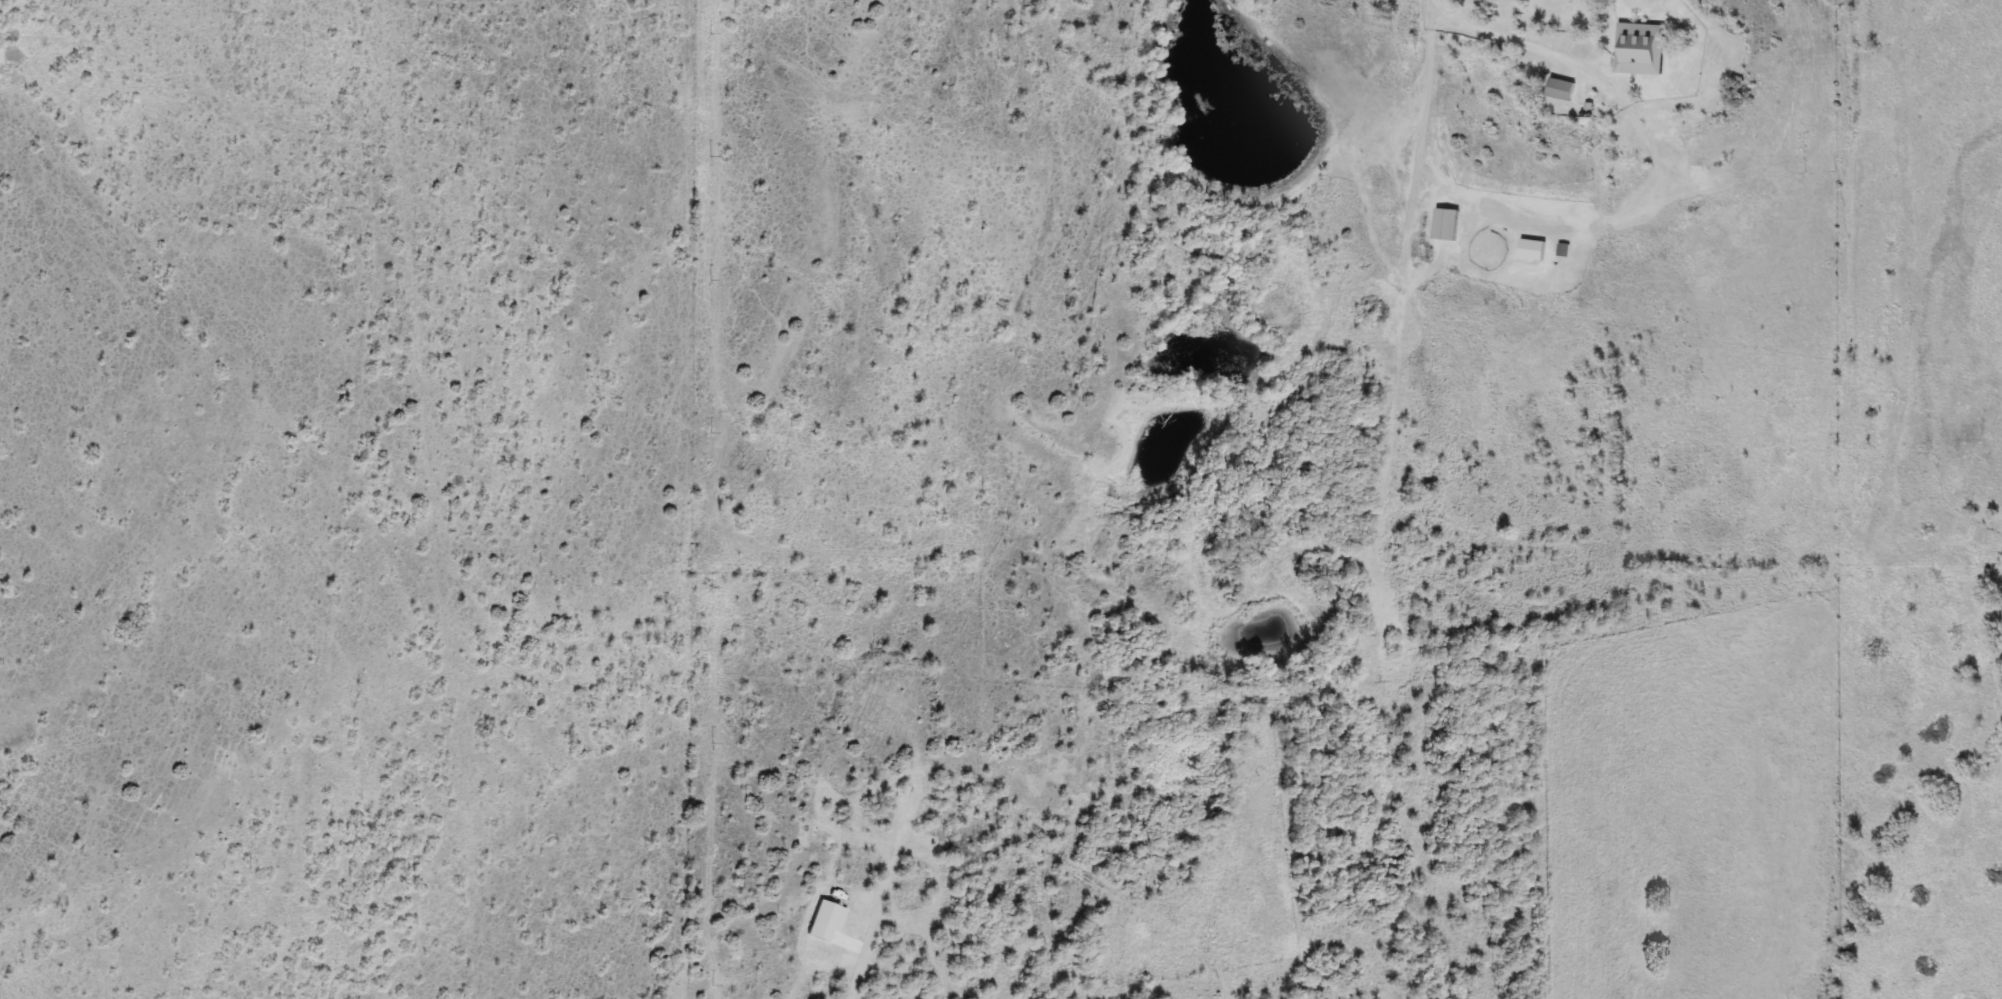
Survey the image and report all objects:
road: (1520, 44)
building: (1641, 49)
building: (1562, 89)
building: (1447, 224)
road: (860, 974)

